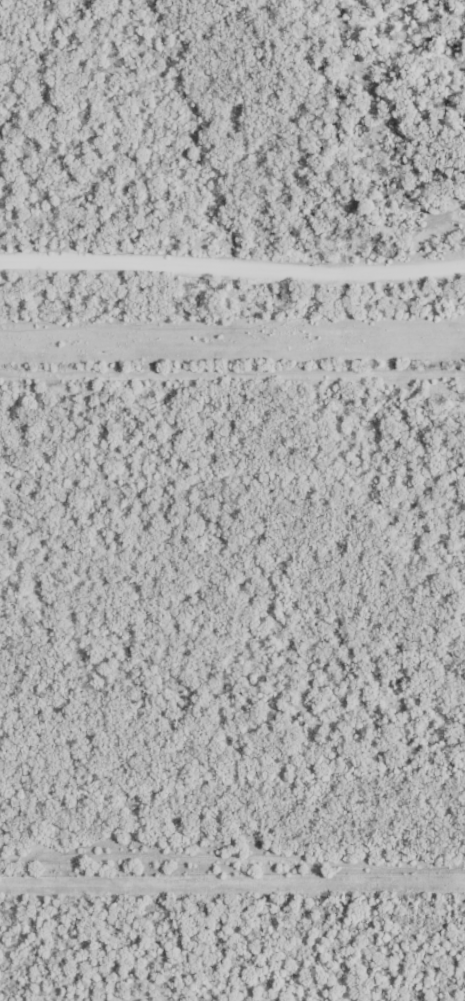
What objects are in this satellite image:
road: (232, 268)

